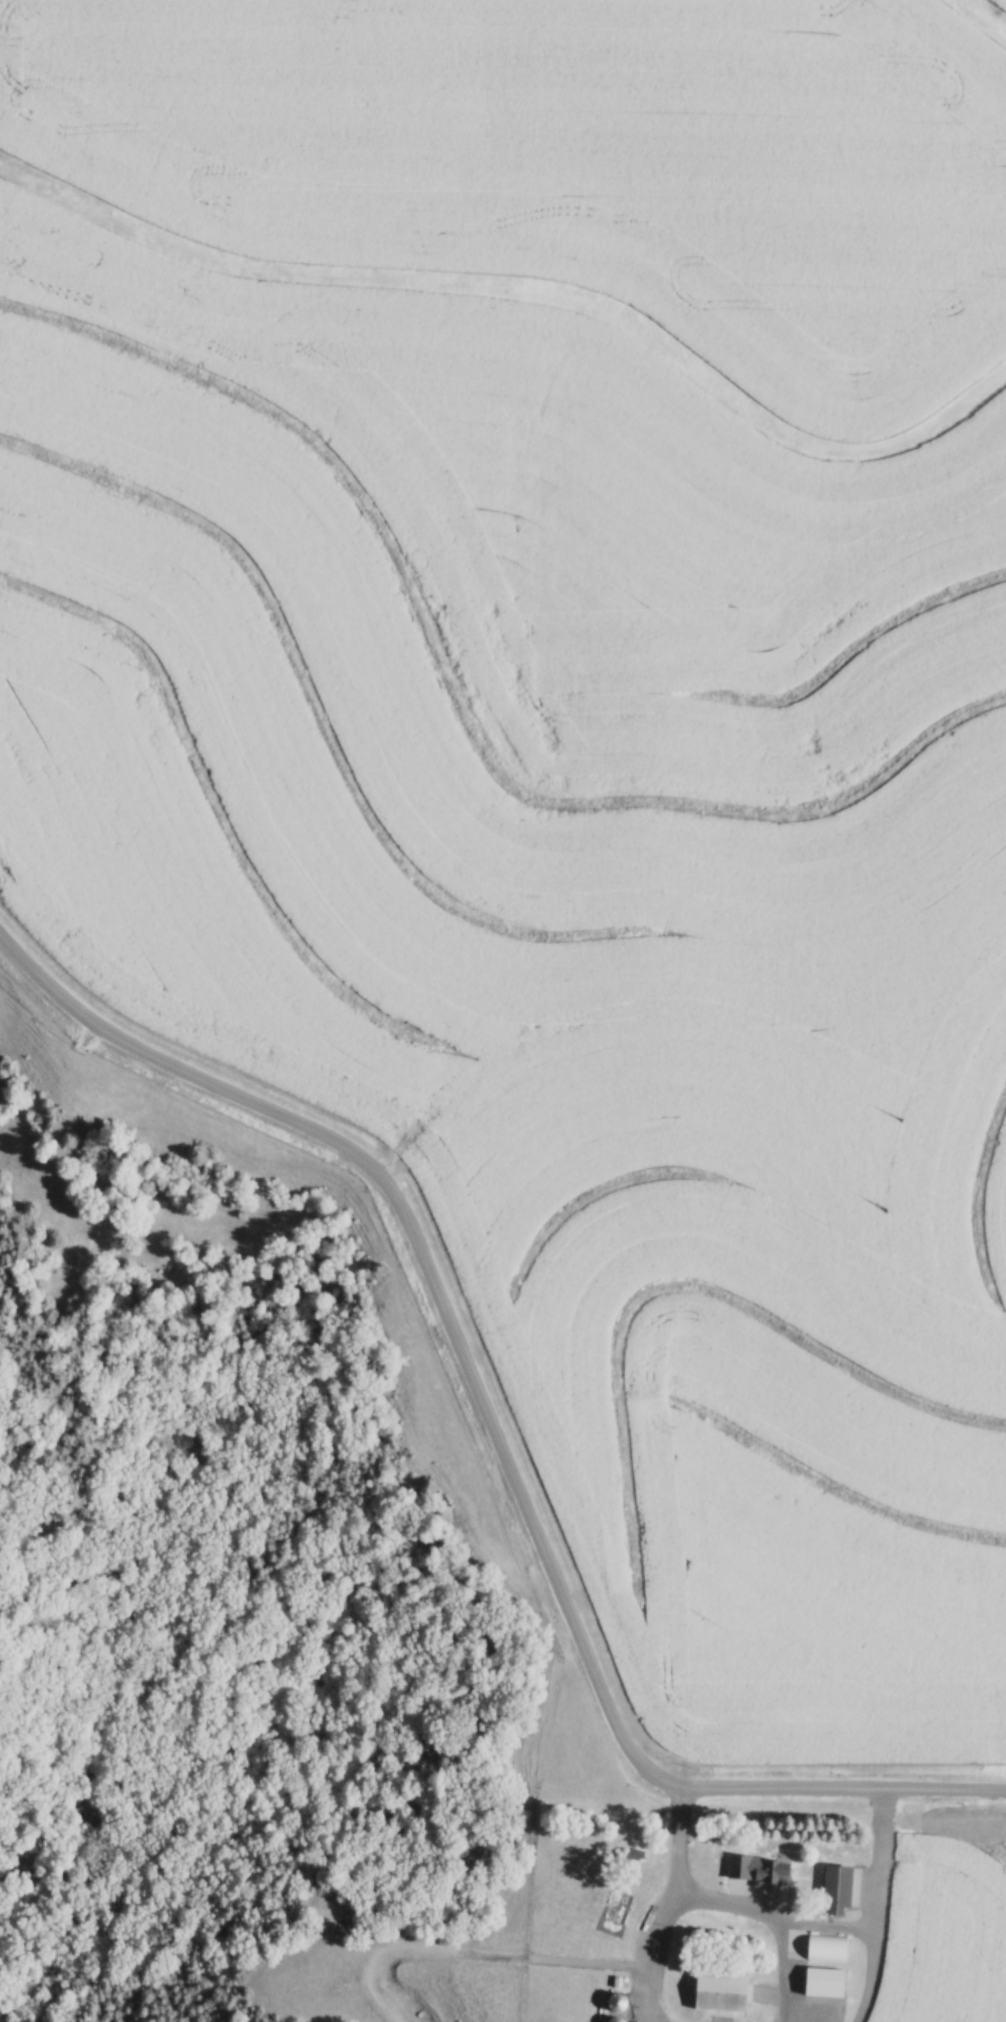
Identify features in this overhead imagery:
road: (432, 1282)
road: (846, 1787)
building: (775, 1874)
building: (737, 1880)
building: (841, 1890)
building: (617, 1914)
building: (831, 1949)
building: (828, 1983)
building: (724, 1992)

